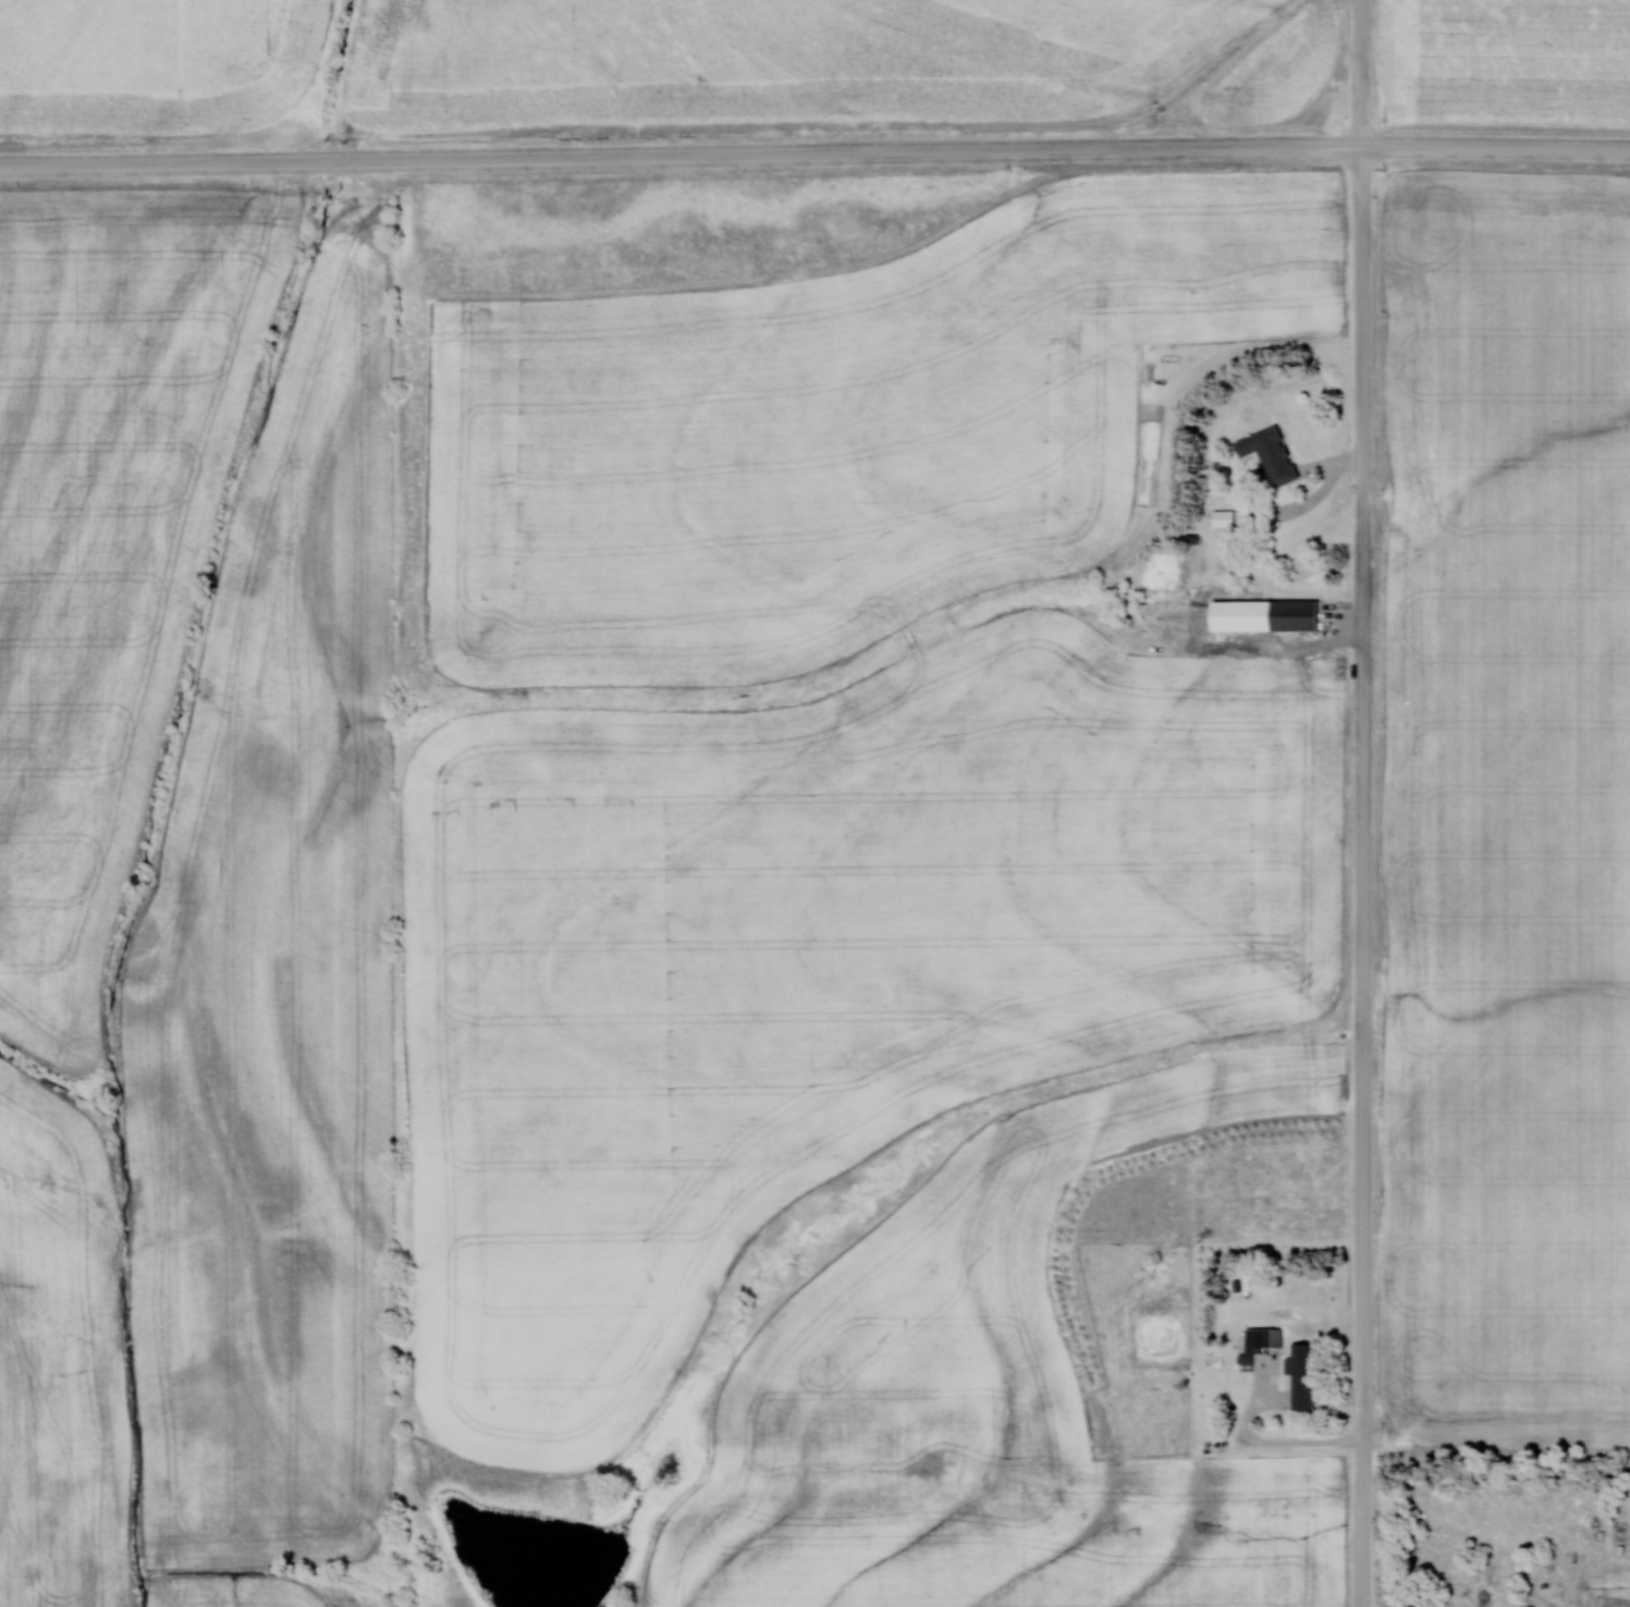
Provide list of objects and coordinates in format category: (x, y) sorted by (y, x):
road: (814, 156)
building: (1271, 456)
building: (1226, 518)
building: (1295, 614)
road: (1369, 802)
building: (1266, 1338)
building: (1310, 1355)

